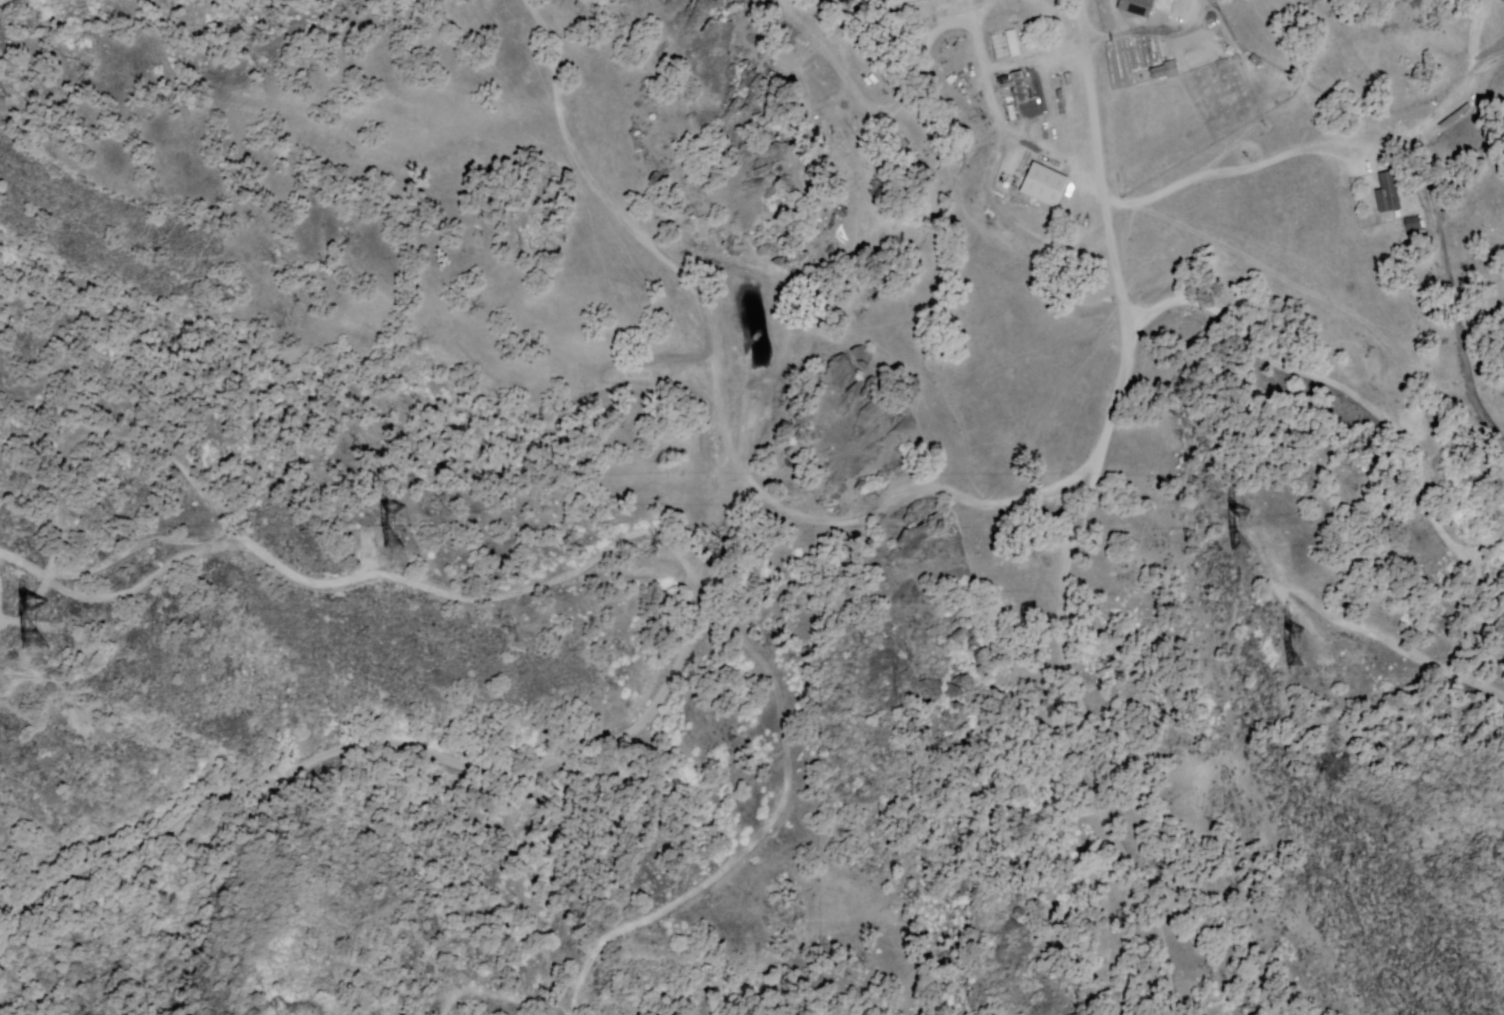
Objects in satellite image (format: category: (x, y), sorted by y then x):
building: (701, 7)
building: (1137, 7)
building: (1006, 45)
road: (1081, 46)
building: (1166, 71)
building: (1020, 88)
building: (1452, 117)
road: (1353, 168)
building: (1041, 183)
building: (1389, 194)
building: (1413, 224)
building: (732, 248)
road: (1115, 324)
road: (1364, 410)
power tower: (386, 508)
road: (856, 508)
power tower: (1225, 514)
road: (353, 566)
power tower: (32, 604)
power tower: (1281, 630)
road: (407, 734)
road: (1079, 741)

